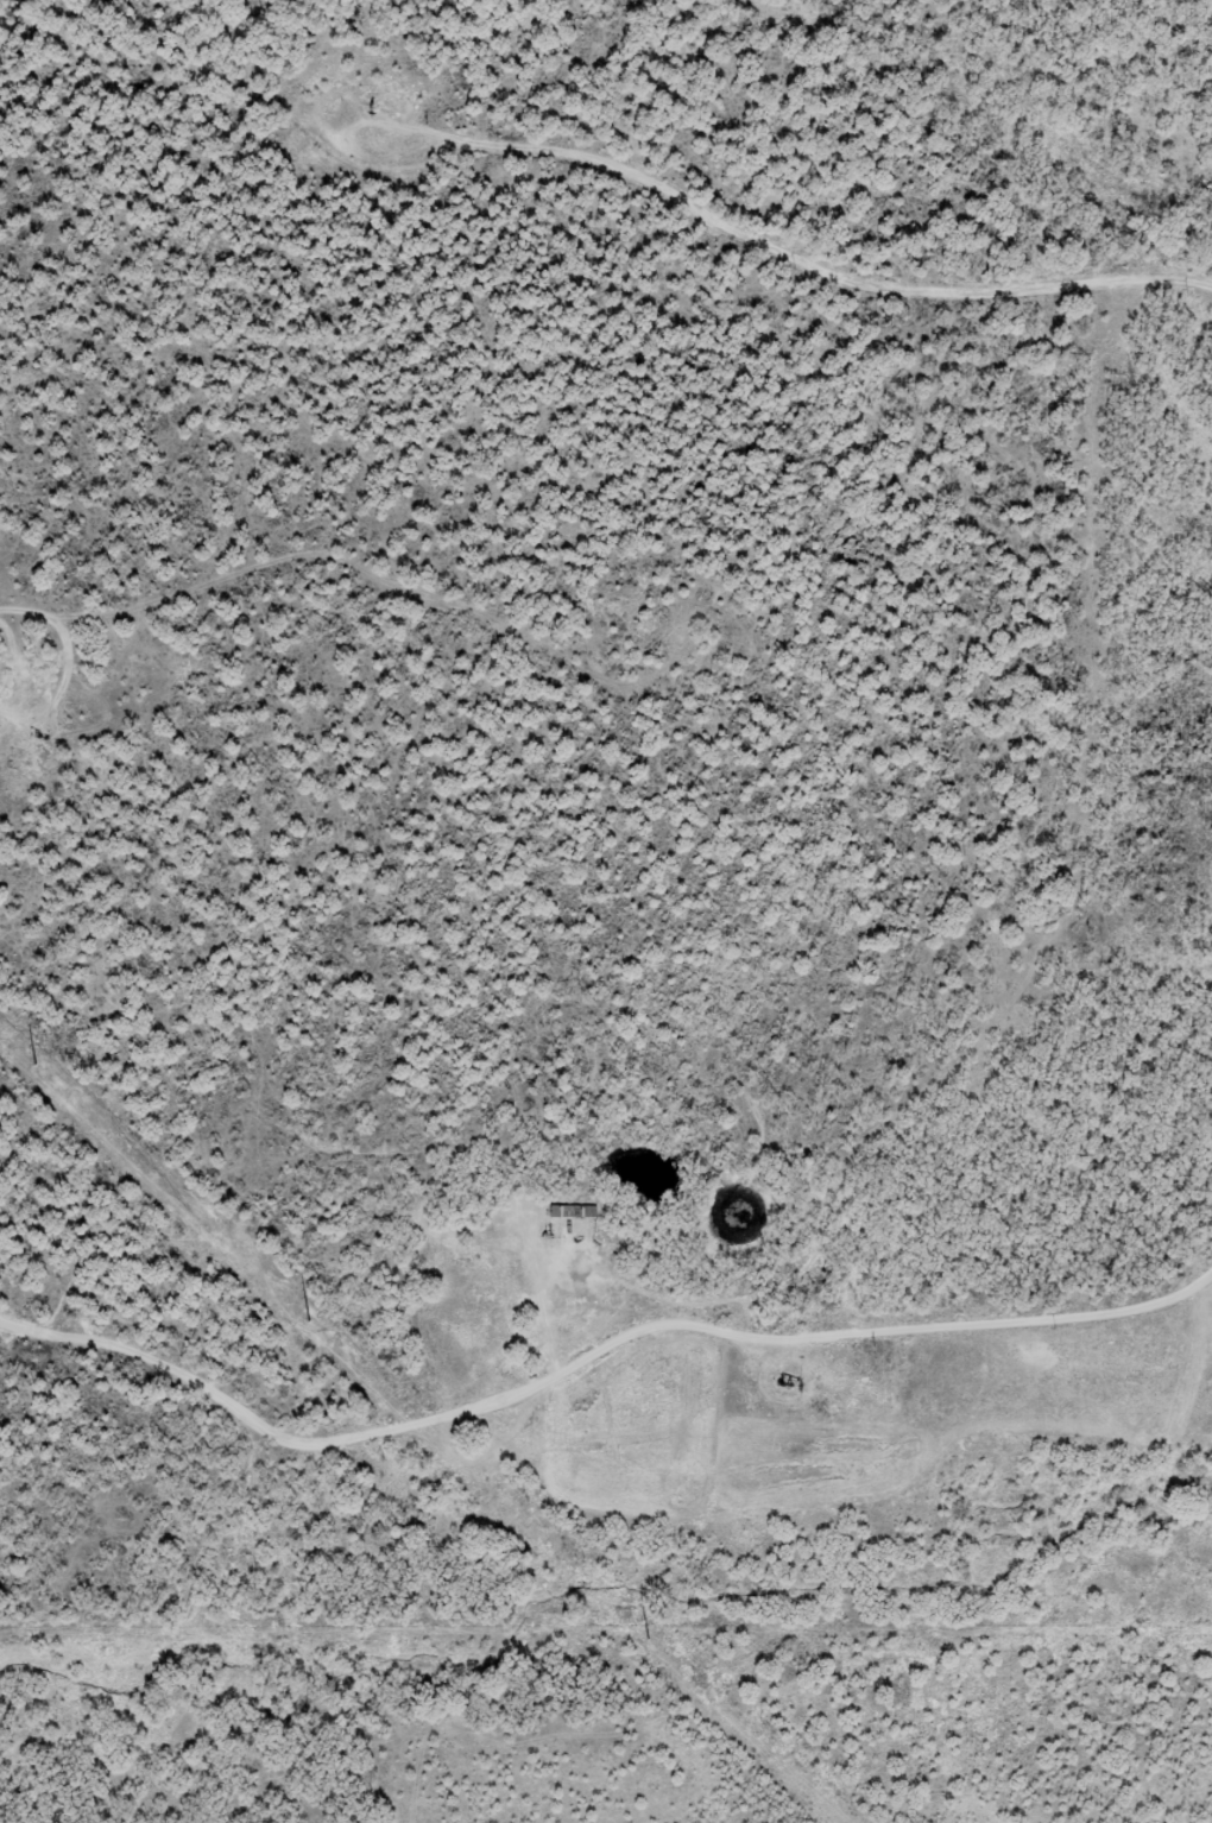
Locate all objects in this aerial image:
road: (611, 1341)
building: (829, 1463)

